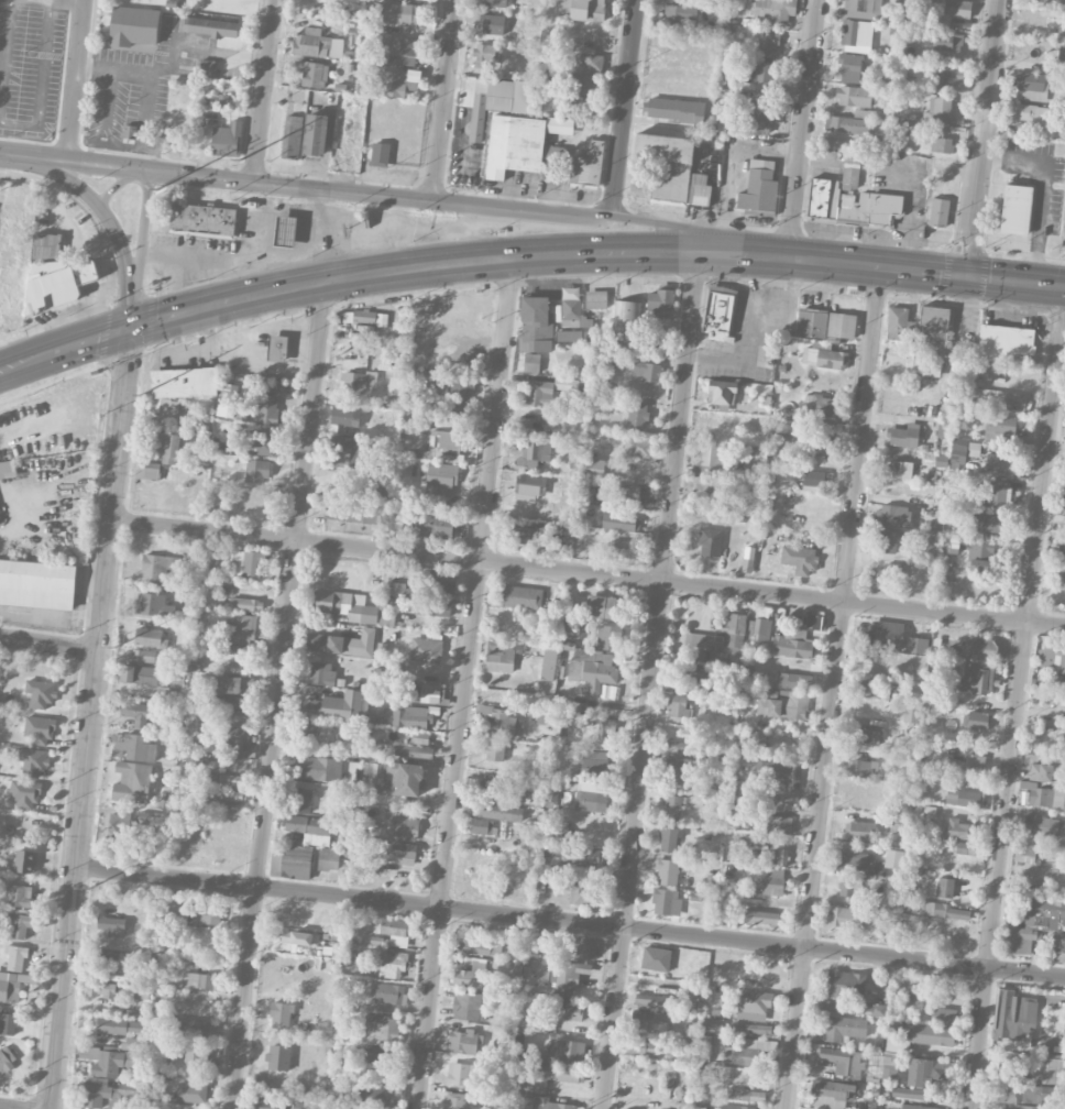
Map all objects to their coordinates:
building: (405, 0)
road: (67, 1)
building: (233, 6)
building: (865, 7)
building: (581, 9)
building: (957, 9)
building: (775, 10)
building: (399, 13)
building: (679, 17)
building: (133, 26)
building: (210, 26)
building: (857, 34)
building: (1061, 34)
building: (311, 43)
building: (949, 43)
building: (768, 45)
building: (404, 51)
road: (220, 52)
road: (4, 53)
building: (487, 53)
building: (1063, 58)
building: (591, 59)
building: (209, 64)
building: (849, 67)
building: (759, 72)
road: (135, 74)
building: (312, 74)
building: (948, 75)
road: (42, 79)
road: (76, 80)
building: (395, 83)
building: (581, 84)
building: (1032, 86)
road: (263, 90)
building: (854, 96)
road: (443, 100)
building: (497, 101)
road: (623, 108)
building: (678, 110)
building: (940, 112)
building: (1026, 112)
building: (758, 117)
building: (847, 124)
building: (559, 125)
road: (802, 127)
building: (316, 134)
road: (980, 135)
building: (292, 136)
building: (227, 139)
building: (942, 144)
building: (518, 145)
building: (347, 146)
building: (665, 147)
road: (8, 154)
building: (380, 154)
power tower: (242, 156)
road: (816, 157)
road: (81, 162)
building: (588, 165)
road: (731, 165)
road: (1046, 183)
road: (119, 184)
power tower: (157, 188)
building: (699, 189)
building: (758, 191)
road: (378, 195)
building: (850, 198)
road: (907, 207)
building: (1017, 209)
building: (938, 211)
road: (109, 218)
building: (204, 219)
road: (700, 228)
building: (1064, 228)
building: (285, 231)
building: (47, 245)
road: (141, 250)
road: (453, 263)
road: (926, 267)
traffic signals: (965, 272)
building: (58, 282)
building: (596, 296)
building: (660, 304)
building: (574, 314)
building: (717, 314)
building: (364, 316)
road: (234, 319)
building: (626, 320)
building: (811, 322)
building: (898, 323)
building: (536, 325)
building: (842, 325)
road: (208, 327)
road: (282, 327)
traffic signals: (127, 330)
building: (572, 336)
building: (933, 337)
building: (1003, 341)
road: (206, 345)
building: (277, 348)
road: (63, 350)
building: (607, 358)
building: (824, 358)
building: (531, 362)
building: (647, 371)
building: (184, 382)
building: (356, 382)
building: (459, 384)
building: (909, 386)
power tower: (138, 391)
building: (395, 391)
building: (722, 392)
building: (539, 393)
building: (999, 397)
building: (228, 400)
building: (823, 406)
building: (164, 407)
building: (452, 410)
building: (267, 413)
building: (637, 415)
building: (345, 416)
building: (1000, 428)
building: (782, 430)
building: (903, 436)
building: (265, 441)
building: (447, 444)
building: (819, 446)
building: (959, 446)
building: (165, 447)
building: (639, 447)
building: (351, 450)
building: (536, 452)
building: (714, 461)
building: (589, 465)
building: (998, 465)
building: (7, 469)
building: (900, 469)
building: (257, 471)
building: (147, 473)
building: (441, 477)
building: (814, 481)
building: (373, 483)
building: (528, 486)
building: (626, 492)
building: (993, 494)
building: (1064, 506)
building: (353, 512)
building: (893, 516)
building: (621, 521)
building: (990, 523)
building: (524, 535)
building: (889, 541)
building: (710, 542)
building: (1062, 548)
building: (980, 549)
building: (626, 550)
building: (799, 559)
building: (249, 562)
building: (747, 564)
building: (978, 566)
building: (158, 567)
road: (586, 573)
building: (879, 578)
building: (1061, 578)
building: (37, 583)
building: (443, 583)
building: (398, 589)
building: (520, 596)
building: (328, 601)
building: (151, 604)
building: (246, 604)
building: (435, 607)
building: (606, 607)
building: (362, 614)
building: (814, 622)
building: (241, 626)
building: (508, 626)
building: (734, 629)
building: (761, 629)
building: (886, 634)
building: (610, 637)
building: (150, 638)
building: (704, 640)
road: (48, 643)
building: (342, 643)
power tower: (111, 645)
building: (916, 645)
building: (792, 647)
building: (980, 648)
building: (237, 649)
building: (426, 650)
building: (502, 655)
building: (699, 656)
building: (144, 657)
building: (1052, 658)
building: (549, 663)
building: (879, 663)
building: (239, 667)
building: (591, 670)
building: (321, 673)
building: (140, 674)
building: (693, 678)
building: (975, 679)
road: (651, 680)
building: (794, 680)
building: (1052, 680)
building: (248, 681)
road: (464, 683)
building: (177, 684)
building: (229, 684)
road: (833, 685)
building: (872, 690)
building: (426, 692)
building: (40, 693)
road: (278, 695)
road: (1018, 695)
building: (678, 705)
building: (784, 705)
building: (338, 706)
building: (237, 707)
building: (139, 714)
building: (911, 714)
building: (410, 716)
building: (548, 717)
road: (90, 720)
building: (975, 720)
building: (501, 721)
building: (606, 727)
building: (40, 729)
building: (305, 732)
building: (866, 735)
building: (420, 737)
building: (242, 743)
building: (135, 747)
building: (680, 749)
building: (413, 750)
building: (494, 750)
building: (33, 760)
building: (209, 765)
building: (969, 765)
building: (593, 767)
building: (317, 768)
building: (859, 768)
building: (1046, 770)
building: (780, 771)
building: (676, 773)
building: (406, 779)
building: (132, 782)
building: (231, 787)
building: (493, 790)
building: (25, 793)
building: (964, 798)
building: (1046, 798)
building: (301, 800)
building: (588, 800)
building: (672, 808)
building: (502, 812)
building: (778, 824)
building: (1042, 825)
building: (481, 826)
building: (119, 828)
building: (310, 828)
building: (405, 828)
building: (960, 830)
building: (859, 831)
building: (668, 838)
building: (1042, 839)
building: (969, 848)
building: (404, 853)
building: (583, 857)
building: (779, 857)
building: (1028, 857)
building: (328, 859)
building: (893, 859)
building: (853, 860)
building: (24, 861)
building: (667, 871)
building: (773, 882)
power tower: (88, 887)
building: (942, 887)
building: (850, 889)
building: (578, 892)
building: (20, 896)
building: (663, 901)
building: (945, 911)
building: (207, 915)
building: (762, 918)
building: (847, 918)
road: (569, 923)
building: (17, 924)
building: (1034, 924)
building: (112, 925)
building: (394, 931)
building: (293, 941)
building: (548, 944)
building: (468, 946)
building: (1059, 946)
building: (586, 947)
building: (15, 956)
building: (107, 958)
building: (656, 958)
building: (394, 964)
building: (474, 977)
building: (566, 978)
building: (198, 980)
building: (846, 984)
building: (101, 989)
building: (9, 990)
building: (389, 993)
building: (650, 1001)
building: (755, 1001)
building: (466, 1006)
building: (838, 1006)
building: (877, 1009)
building: (573, 1011)
building: (281, 1015)
building: (949, 1017)
building: (647, 1019)
building: (8, 1023)
building: (712, 1023)
building: (118, 1026)
building: (193, 1026)
building: (381, 1028)
building: (843, 1028)
building: (932, 1034)
building: (463, 1041)
building: (131, 1044)
building: (640, 1047)
building: (705, 1047)
building: (560, 1052)
building: (749, 1052)
building: (195, 1054)
building: (380, 1055)
building: (278, 1057)
building: (6, 1058)
building: (844, 1061)
building: (889, 1067)
building: (1055, 1067)
building: (926, 1072)
building: (463, 1073)
building: (552, 1075)
building: (190, 1092)
building: (1052, 1092)
building: (103, 1094)
building: (833, 1094)
building: (374, 1095)
building: (1015, 1095)
building: (751, 1096)
building: (454, 1100)
building: (330, 1102)
building: (549, 1105)
building: (736, 1107)
building: (915, 1107)
building: (267, 1108)

